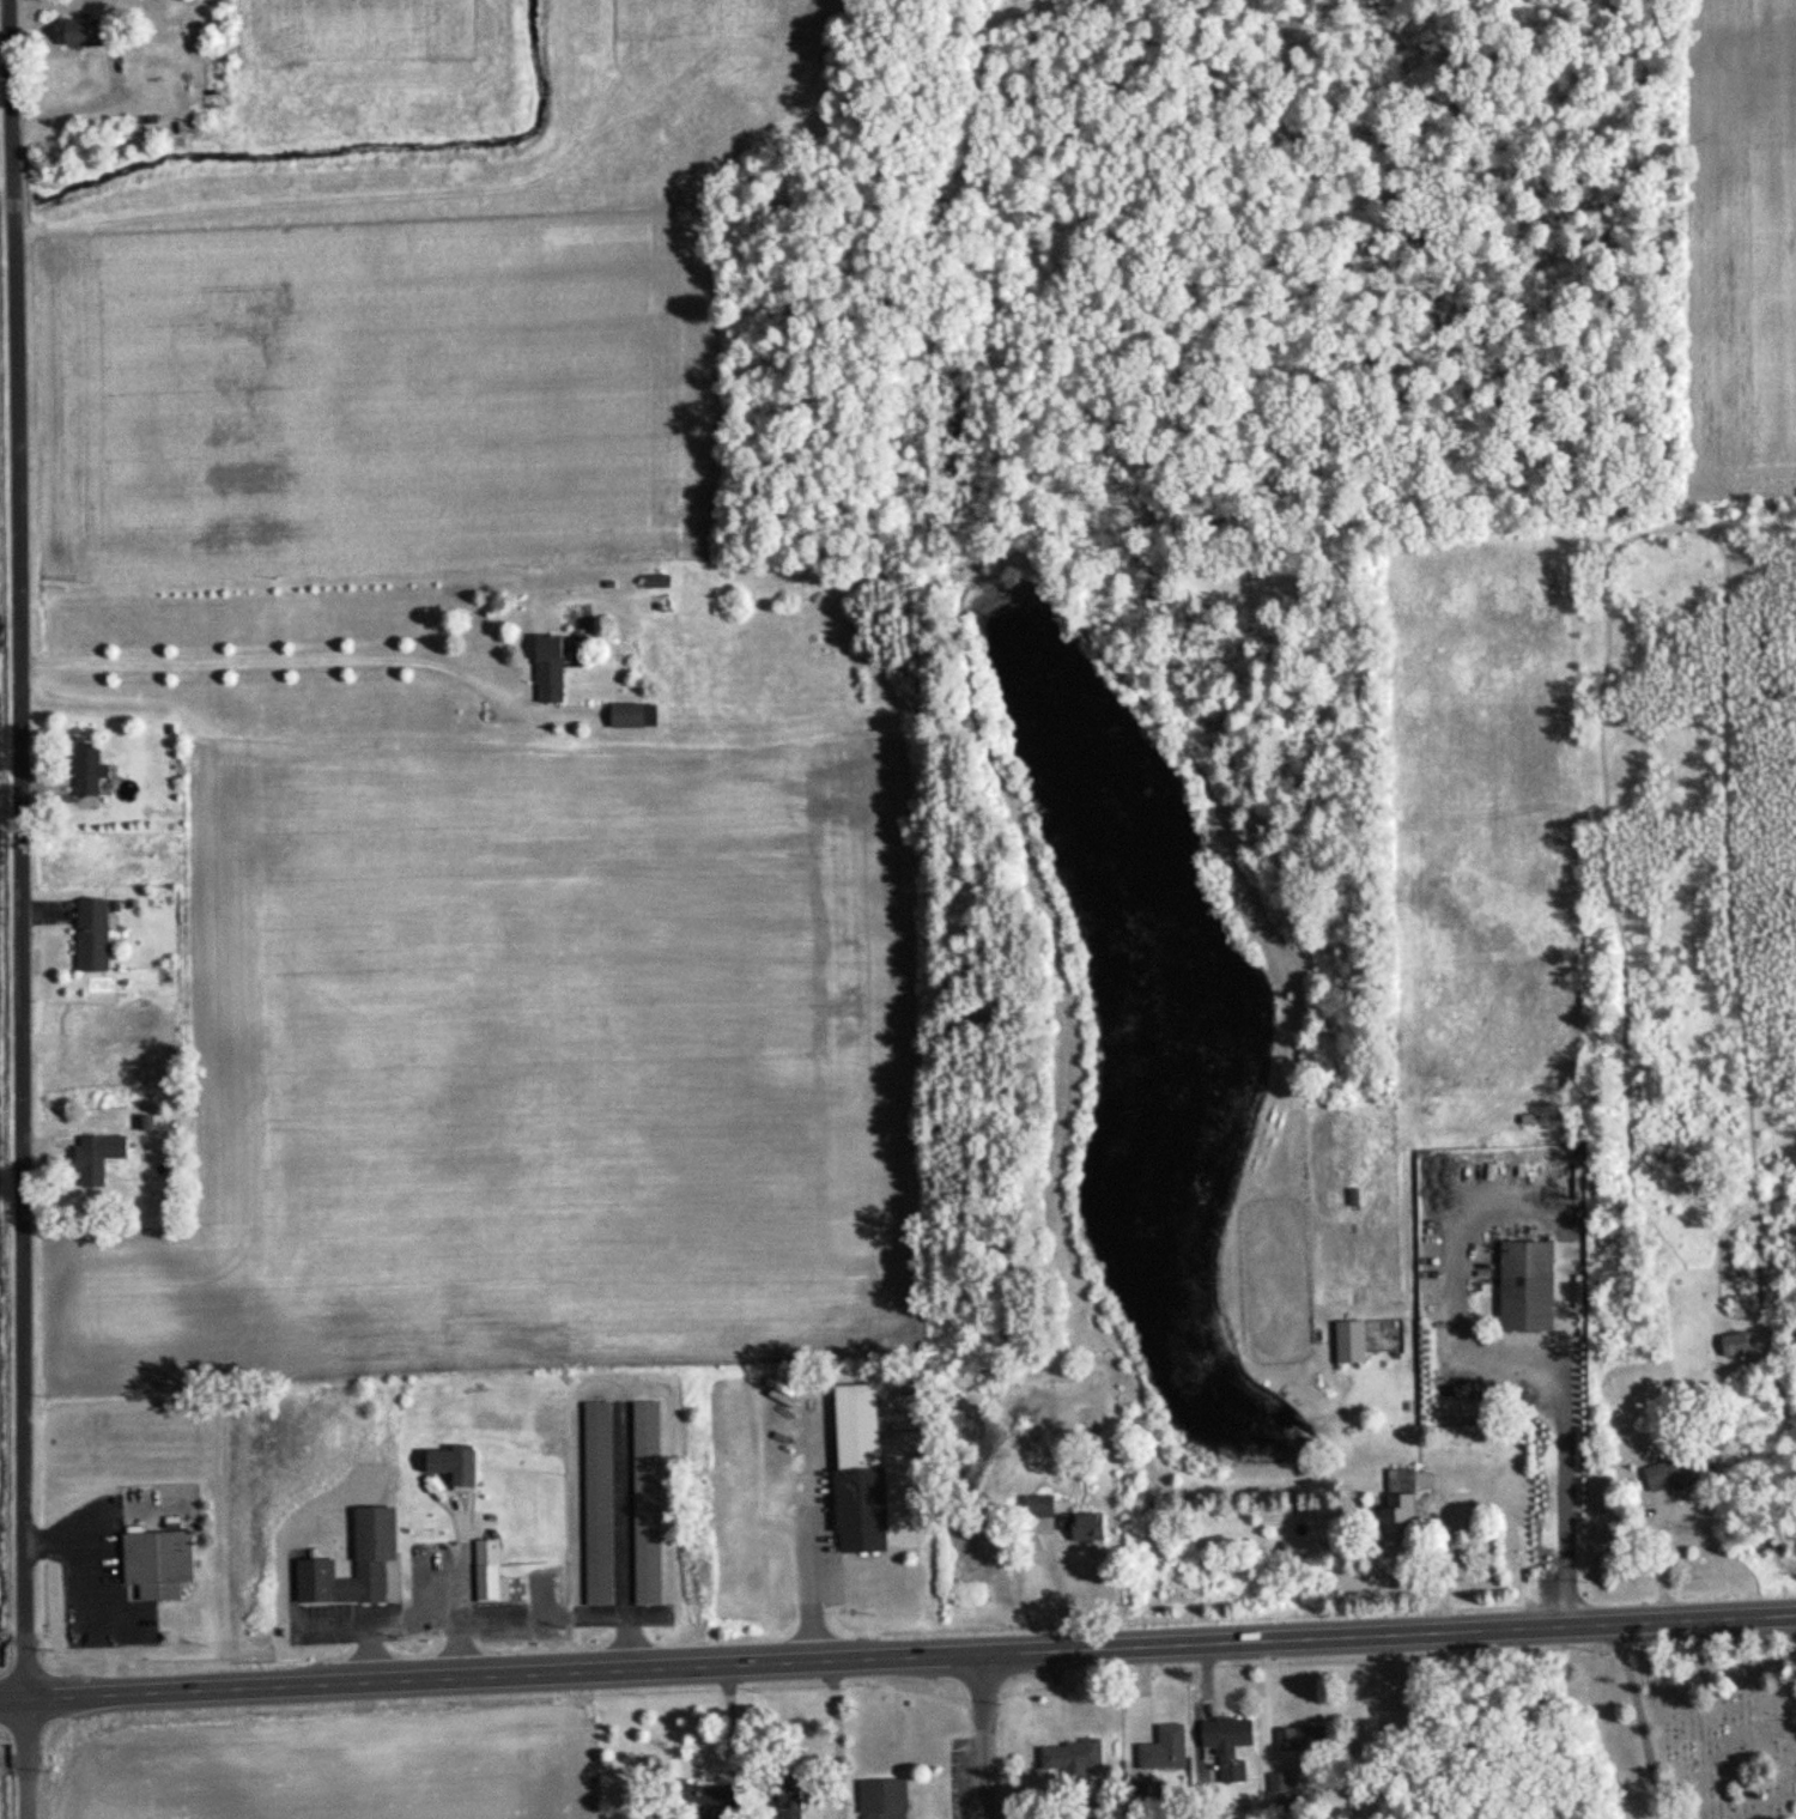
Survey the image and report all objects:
building: (96, 32)
building: (651, 583)
road: (269, 659)
building: (542, 671)
building: (627, 717)
building: (102, 769)
road: (19, 849)
building: (86, 934)
building: (90, 1157)
building: (1523, 1286)
building: (1346, 1341)
building: (1733, 1345)
building: (455, 1468)
building: (853, 1468)
building: (1663, 1474)
building: (642, 1503)
building: (594, 1504)
building: (1394, 1504)
building: (1033, 1508)
building: (1081, 1528)
building: (369, 1534)
road: (803, 1534)
road: (1664, 1554)
building: (169, 1562)
building: (485, 1574)
road: (897, 1659)
road: (1642, 1721)
park: (1687, 1728)
road: (985, 1736)
building: (1296, 1740)
building: (1222, 1745)
building: (1159, 1748)
road: (26, 1759)
building: (1067, 1759)
building: (1275, 1782)
building: (880, 1799)
building: (781, 1800)
building: (692, 1801)

